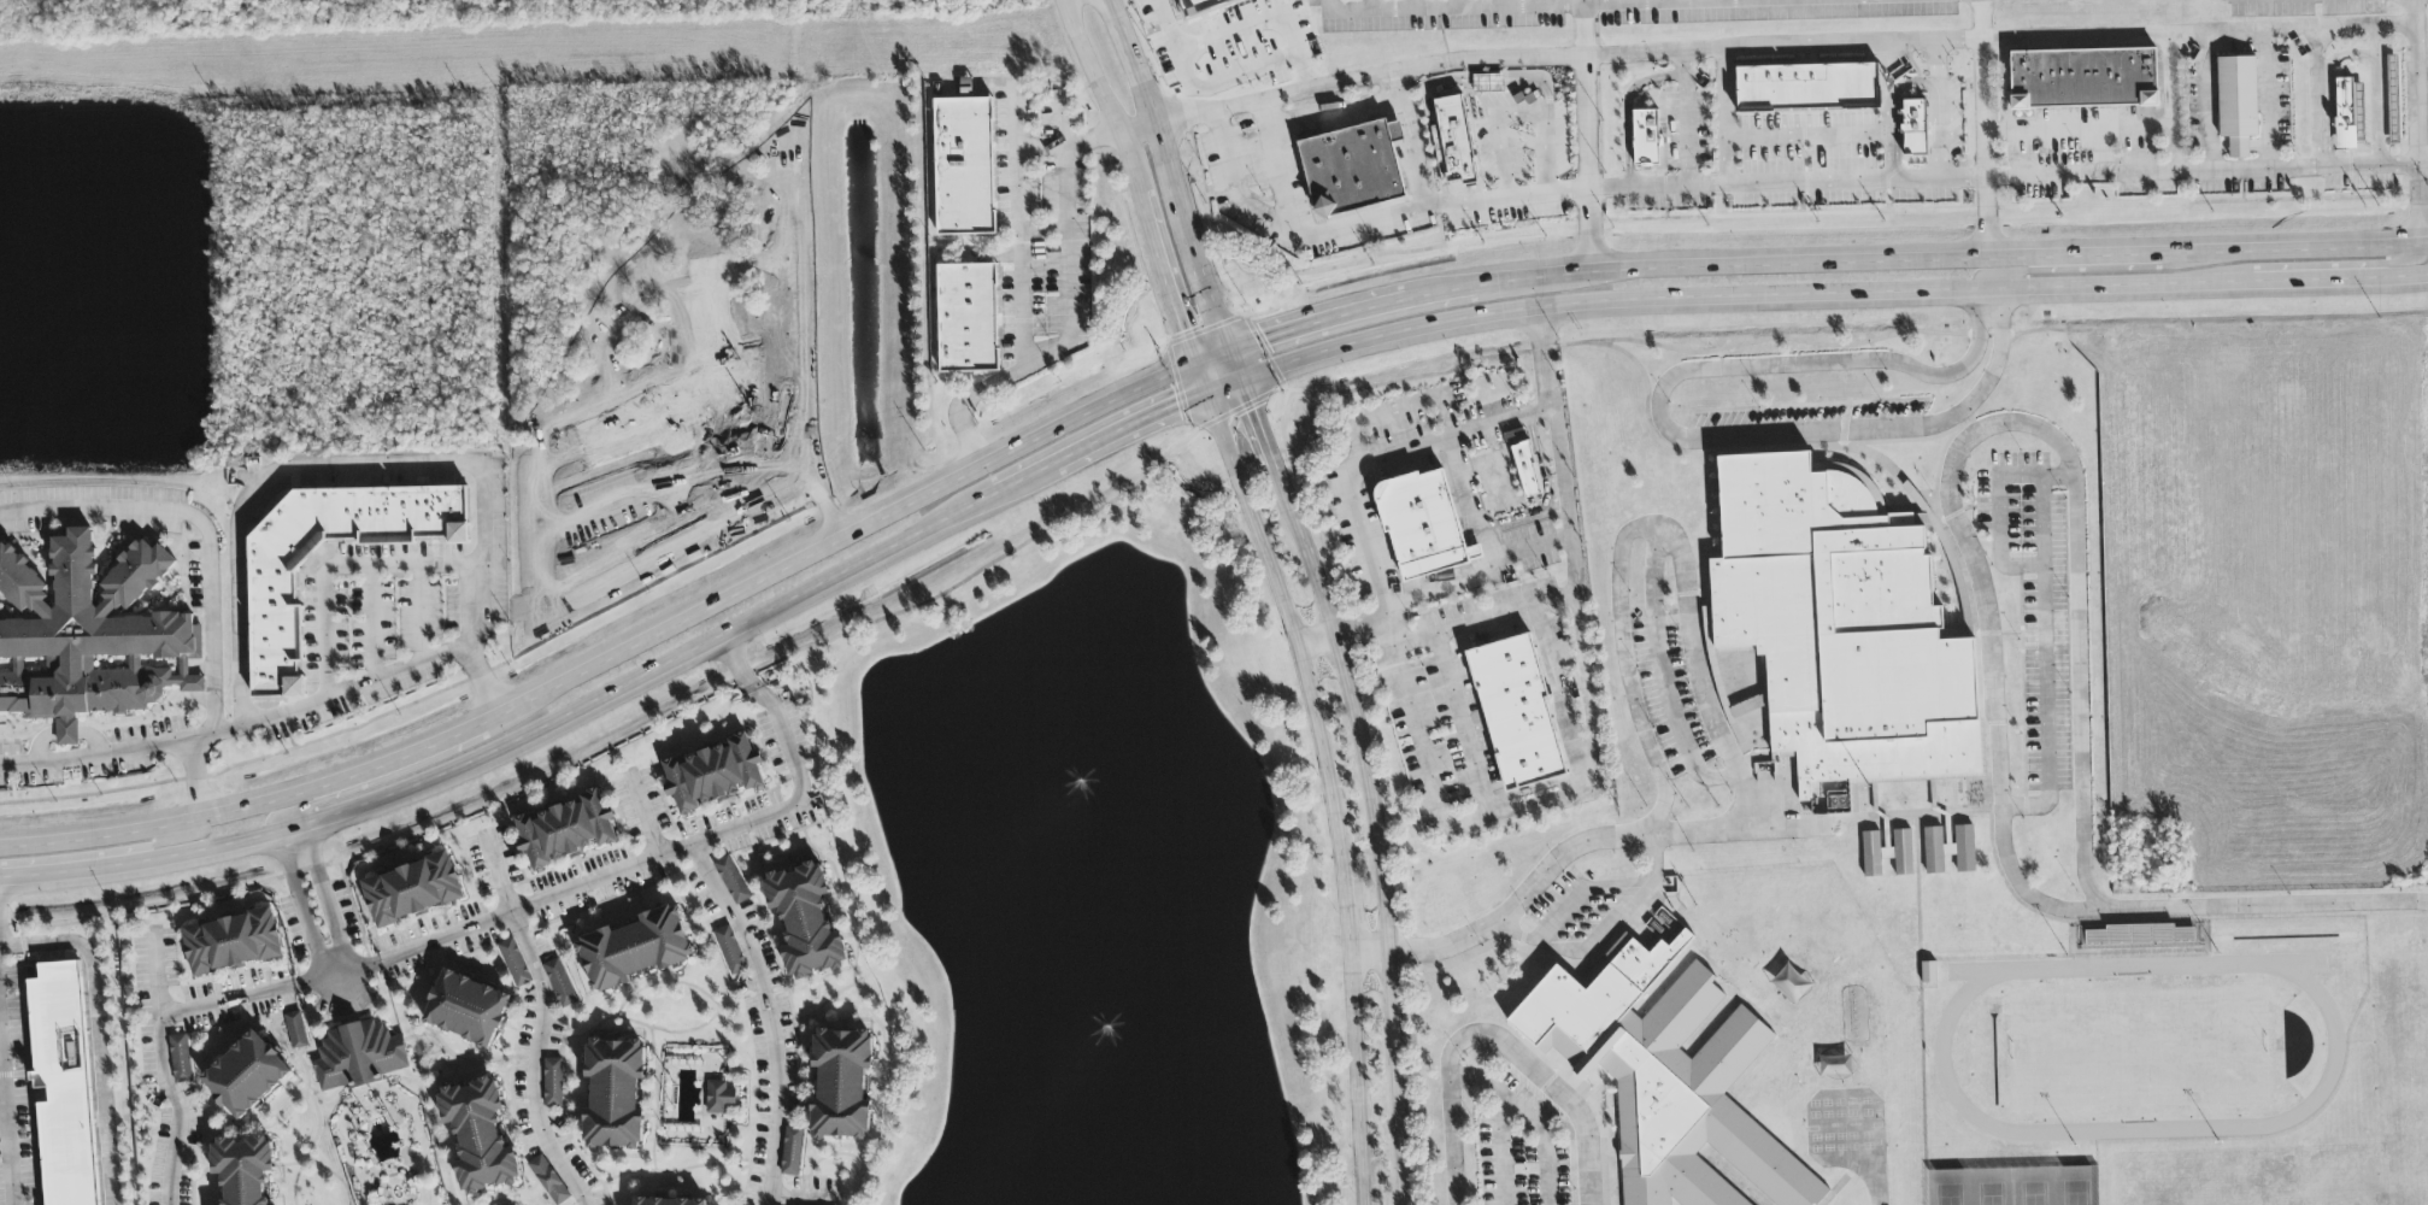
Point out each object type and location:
road: (1709, 0)
road: (1979, 0)
road: (1627, 1)
road: (1666, 1)
road: (1544, 2)
road: (1457, 4)
road: (1498, 4)
road: (1370, 5)
road: (1413, 5)
building: (1200, 6)
road: (1327, 6)
road: (1540, 6)
park: (222, 10)
road: (2195, 33)
road: (1842, 45)
road: (1090, 66)
road: (1427, 66)
road: (1186, 78)
road: (2170, 78)
building: (2083, 80)
building: (1487, 83)
building: (1807, 88)
road: (2376, 92)
road: (1630, 93)
road: (2317, 94)
road: (2265, 96)
road: (2205, 98)
building: (2393, 100)
building: (2236, 104)
road: (1889, 105)
road: (1938, 110)
road: (1527, 112)
building: (2347, 113)
road: (1726, 117)
road: (1060, 118)
road: (2416, 122)
road: (2099, 125)
road: (1136, 128)
building: (1913, 128)
road: (1980, 128)
building: (1457, 129)
road: (1585, 136)
building: (1645, 137)
road: (1411, 140)
road: (1809, 140)
road: (1159, 145)
road: (1069, 147)
road: (1499, 153)
road: (1544, 157)
building: (1353, 163)
building: (964, 166)
road: (2205, 166)
road: (1272, 167)
road: (1629, 171)
road: (1689, 171)
road: (1836, 182)
road: (1360, 223)
road: (1018, 224)
road: (1933, 257)
road: (1162, 261)
road: (2364, 264)
road: (2069, 270)
road: (1899, 292)
road: (1988, 300)
road: (1335, 316)
building: (968, 318)
road: (1219, 319)
traffic signals: (1184, 330)
traffic signals: (1265, 337)
road: (1068, 340)
road: (1213, 353)
road: (1309, 354)
road: (1956, 372)
road: (1225, 382)
traffic signals: (1175, 404)
road: (1254, 406)
traffic signals: (1256, 408)
road: (1127, 427)
road: (1974, 433)
road: (1734, 437)
road: (1375, 460)
road: (457, 464)
building: (1525, 470)
road: (1018, 480)
road: (2000, 505)
road: (1976, 506)
road: (202, 525)
building: (1423, 525)
road: (1647, 527)
road: (842, 533)
road: (1554, 536)
road: (341, 566)
building: (272, 588)
road: (418, 615)
road: (1462, 623)
road: (374, 624)
building: (1842, 627)
building: (89, 633)
road: (1313, 637)
road: (2045, 664)
road: (1662, 676)
road: (481, 681)
building: (1517, 713)
road: (1460, 723)
road: (652, 727)
road: (64, 731)
road: (289, 731)
road: (515, 742)
road: (439, 743)
road: (120, 751)
road: (260, 758)
road: (796, 769)
fountain: (1078, 771)
building: (712, 775)
road: (195, 778)
road: (11, 783)
road: (1330, 788)
road: (1551, 794)
road: (327, 800)
road: (1956, 812)
road: (642, 813)
road: (193, 821)
road: (1374, 829)
road: (1741, 830)
building: (564, 831)
building: (1964, 850)
building: (1933, 852)
road: (102, 853)
building: (1887, 853)
road: (1654, 856)
road: (498, 871)
building: (731, 881)
building: (412, 890)
road: (328, 898)
road: (298, 906)
road: (2269, 906)
road: (1562, 911)
road: (354, 913)
road: (2171, 919)
building: (805, 922)
road: (737, 928)
road: (20, 936)
building: (231, 942)
road: (1442, 948)
building: (634, 950)
building: (730, 951)
road: (1370, 954)
building: (515, 964)
road: (155, 971)
building: (1928, 972)
road: (336, 976)
road: (539, 978)
building: (559, 983)
building: (466, 1009)
fountain: (1094, 1009)
road: (1921, 1010)
road: (159, 1030)
road: (98, 1031)
building: (295, 1031)
road: (1494, 1038)
building: (358, 1057)
building: (180, 1059)
building: (246, 1076)
building: (1664, 1076)
road: (1, 1077)
building: (552, 1082)
building: (841, 1084)
building: (63, 1086)
road: (2, 1092)
building: (613, 1094)
building: (718, 1098)
road: (6, 1116)
road: (1527, 1117)
building: (478, 1136)
road: (1503, 1151)
building: (792, 1152)
road: (2011, 1166)
building: (243, 1169)
building: (548, 1181)
road: (1875, 1182)
park: (2013, 1185)
road: (804, 1199)
building: (666, 1201)
building: (737, 1204)

